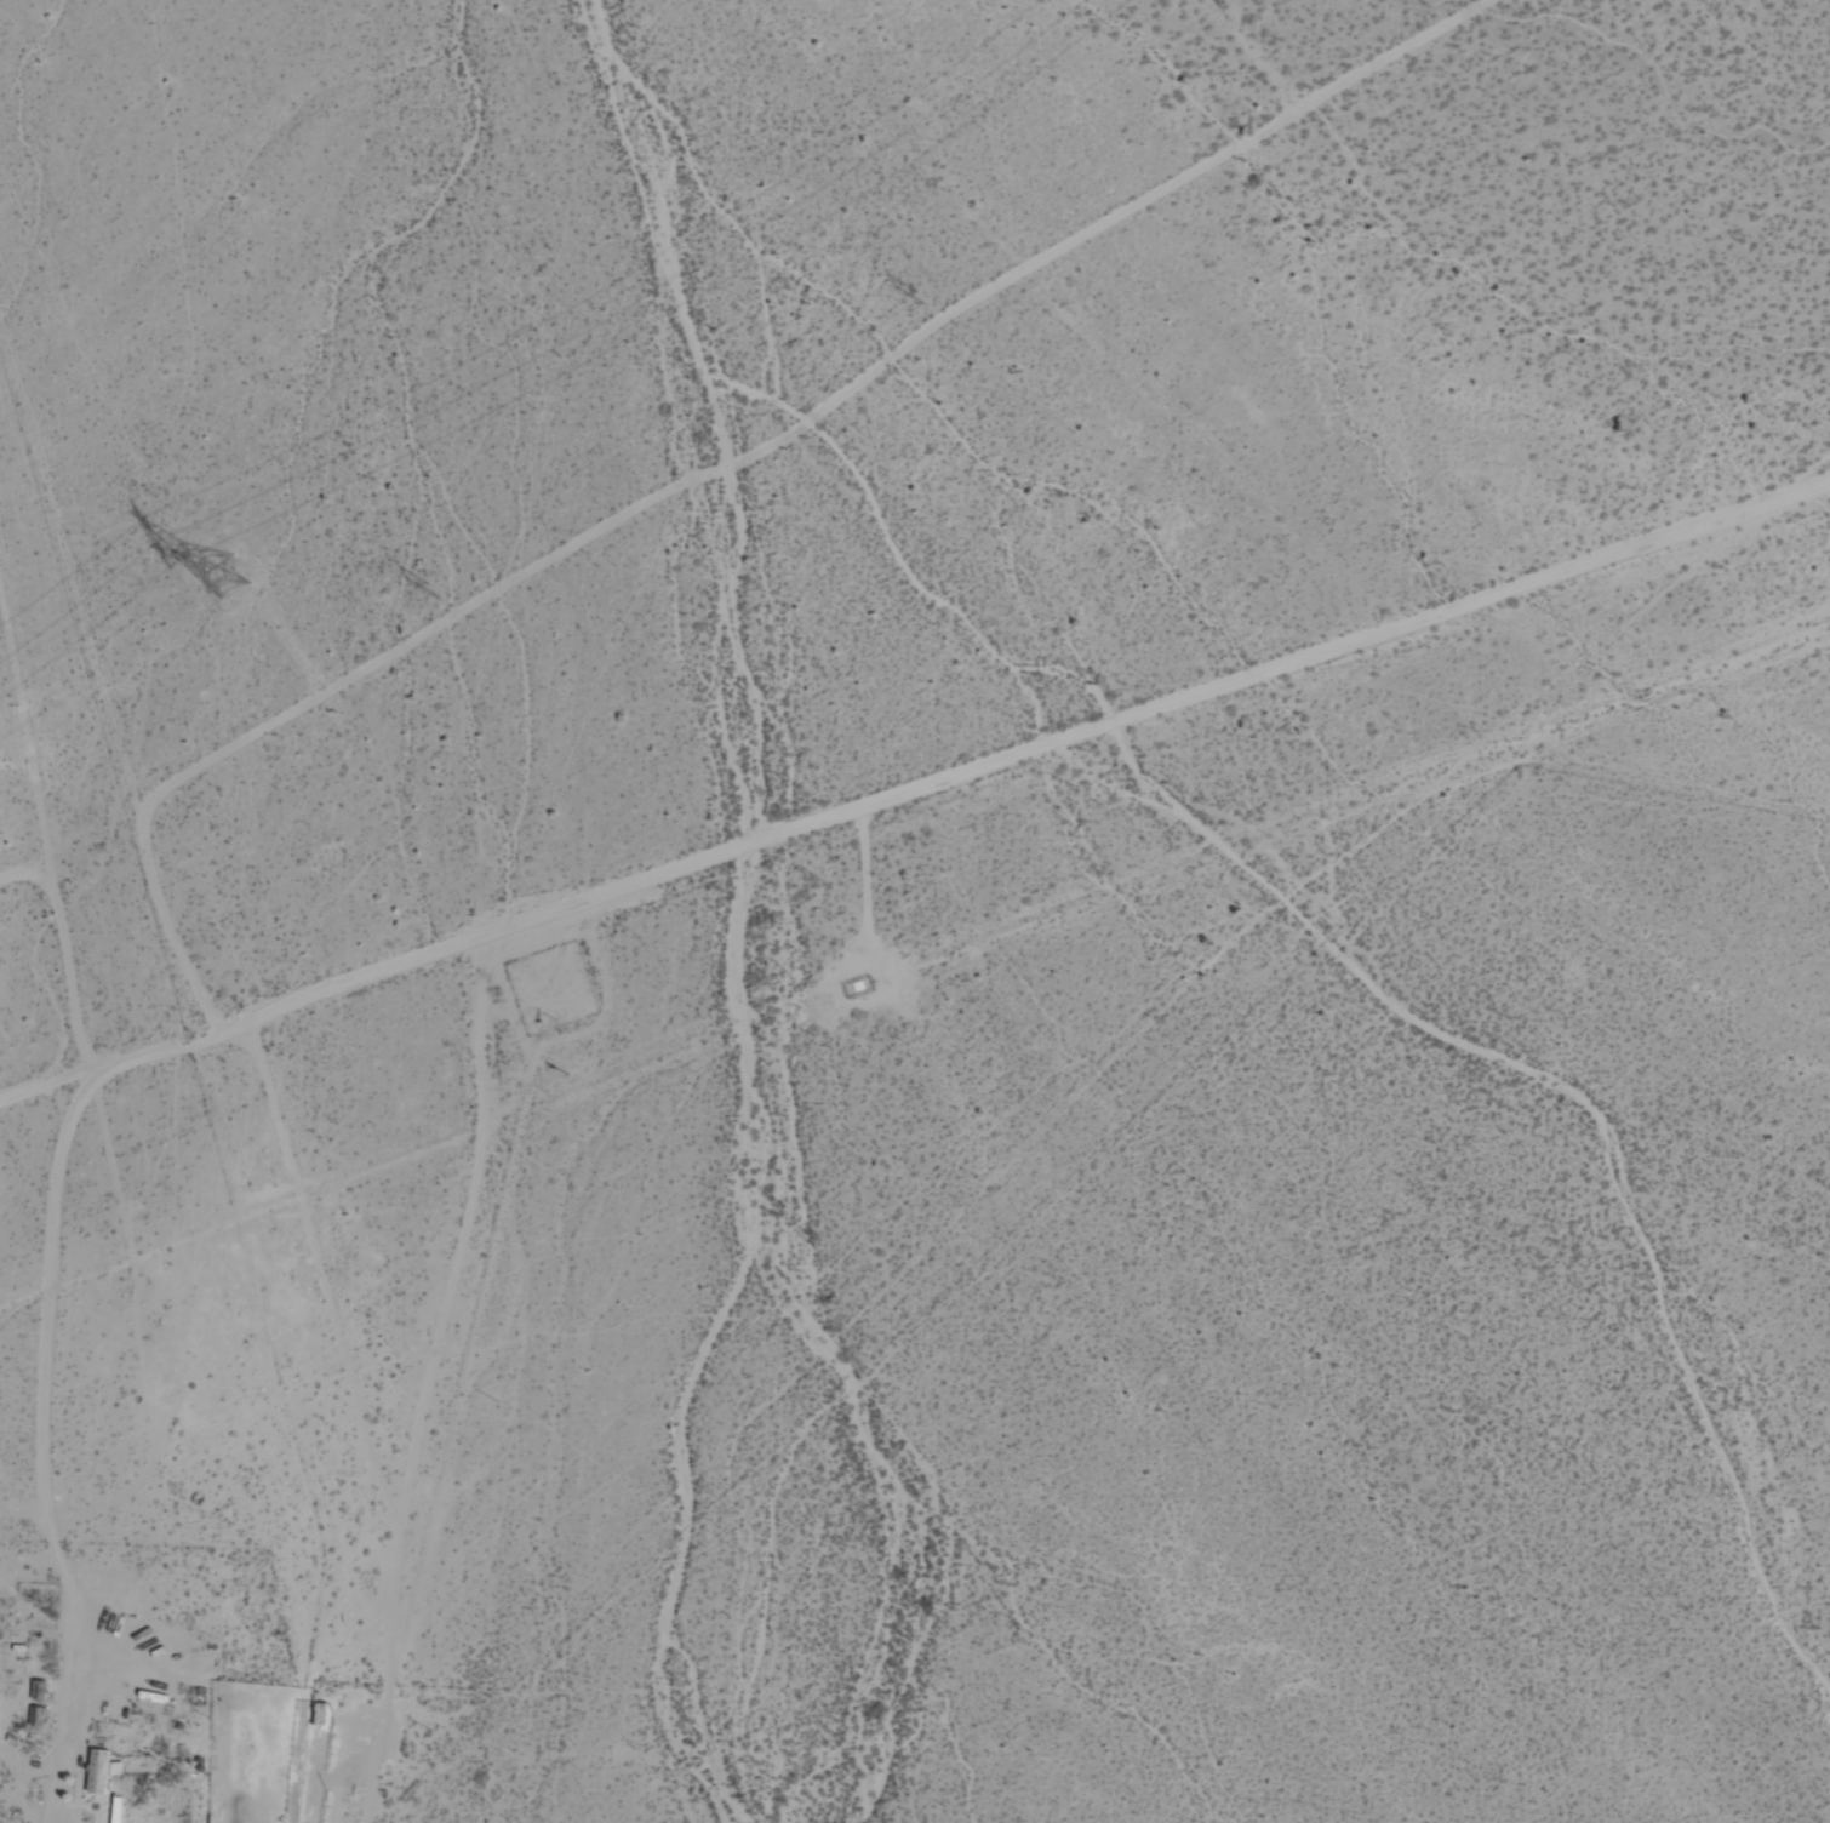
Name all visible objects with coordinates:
power tower: (915, 295)
power tower: (212, 584)
power tower: (417, 589)
road: (915, 793)
building: (99, 1770)

